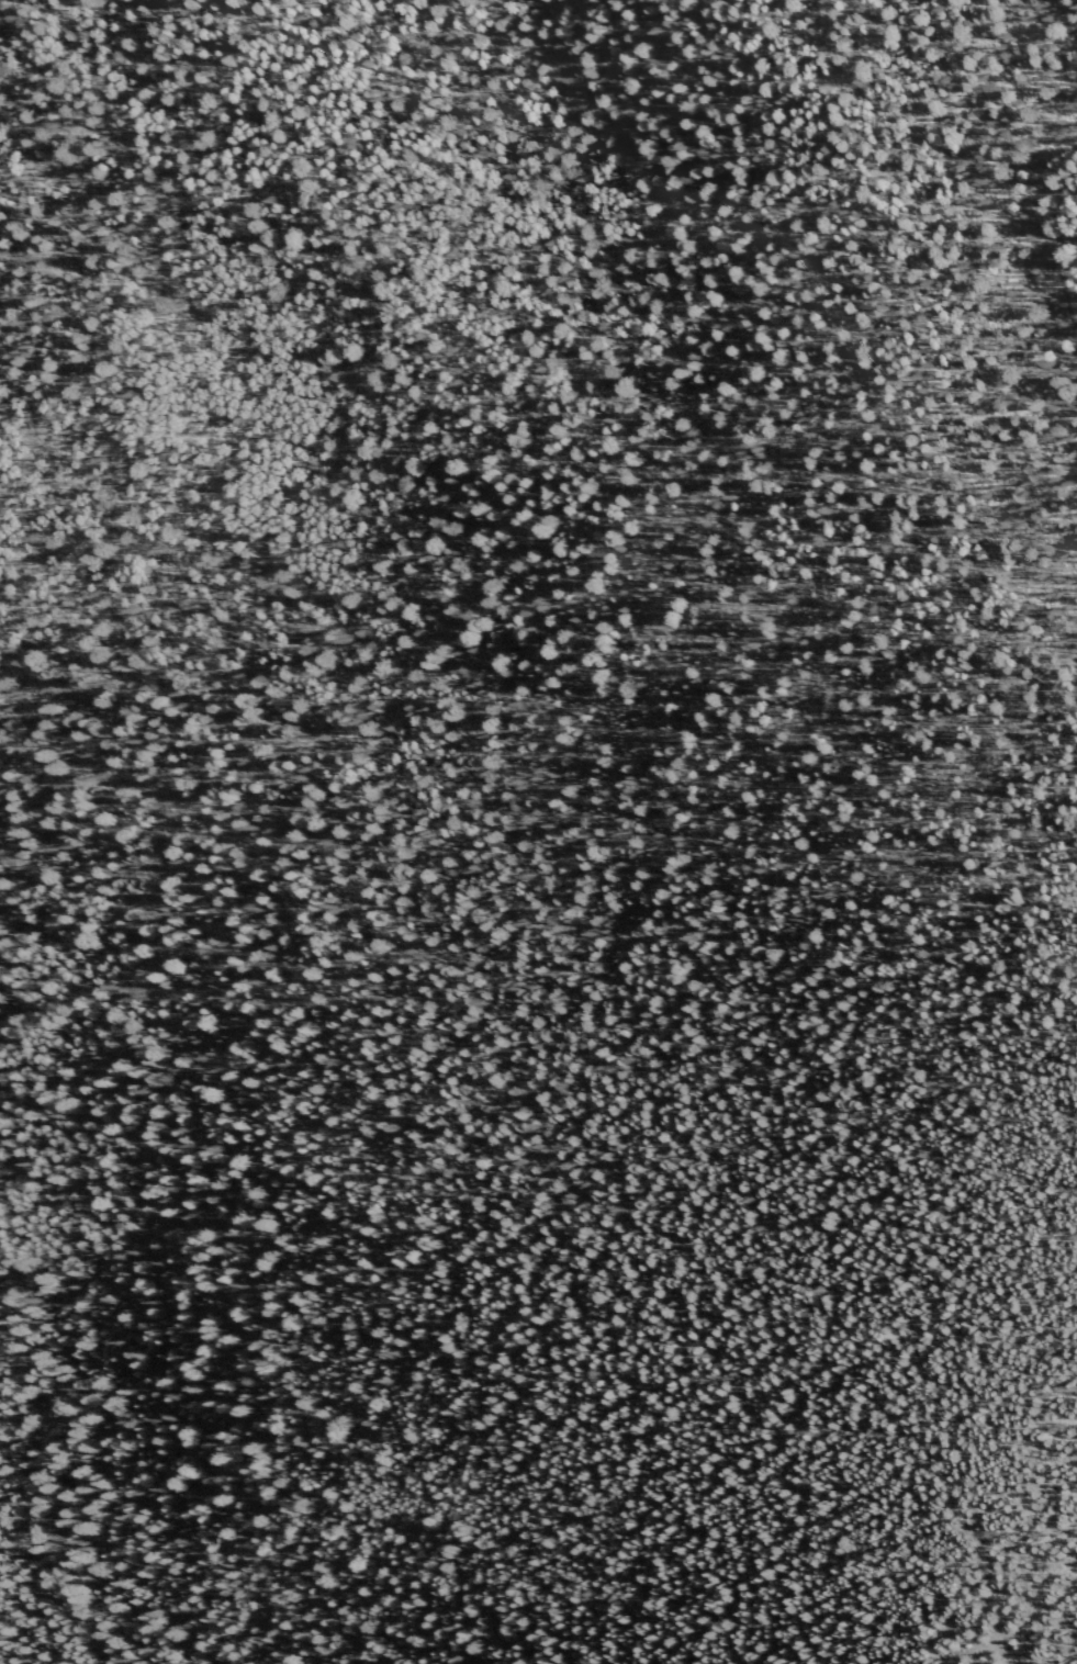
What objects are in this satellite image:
ski resort: (1044, 1203)

